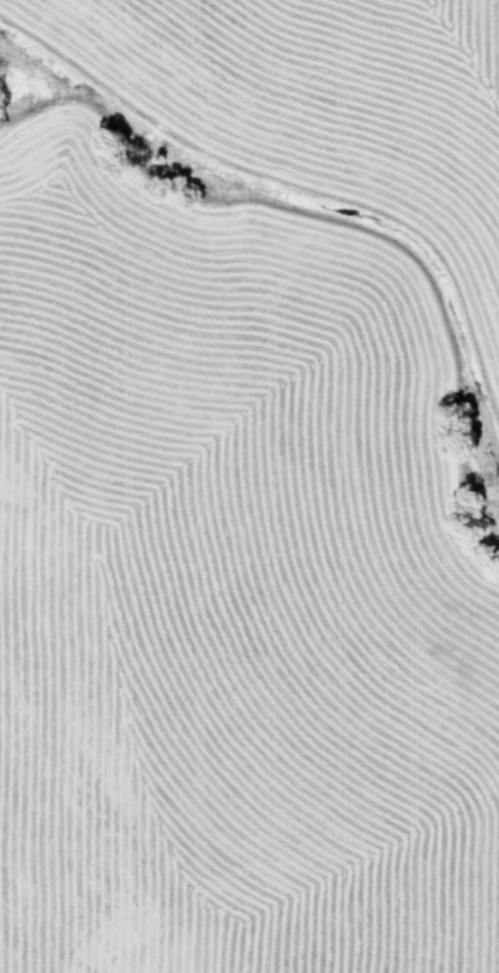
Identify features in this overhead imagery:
crop: (249, 486)

